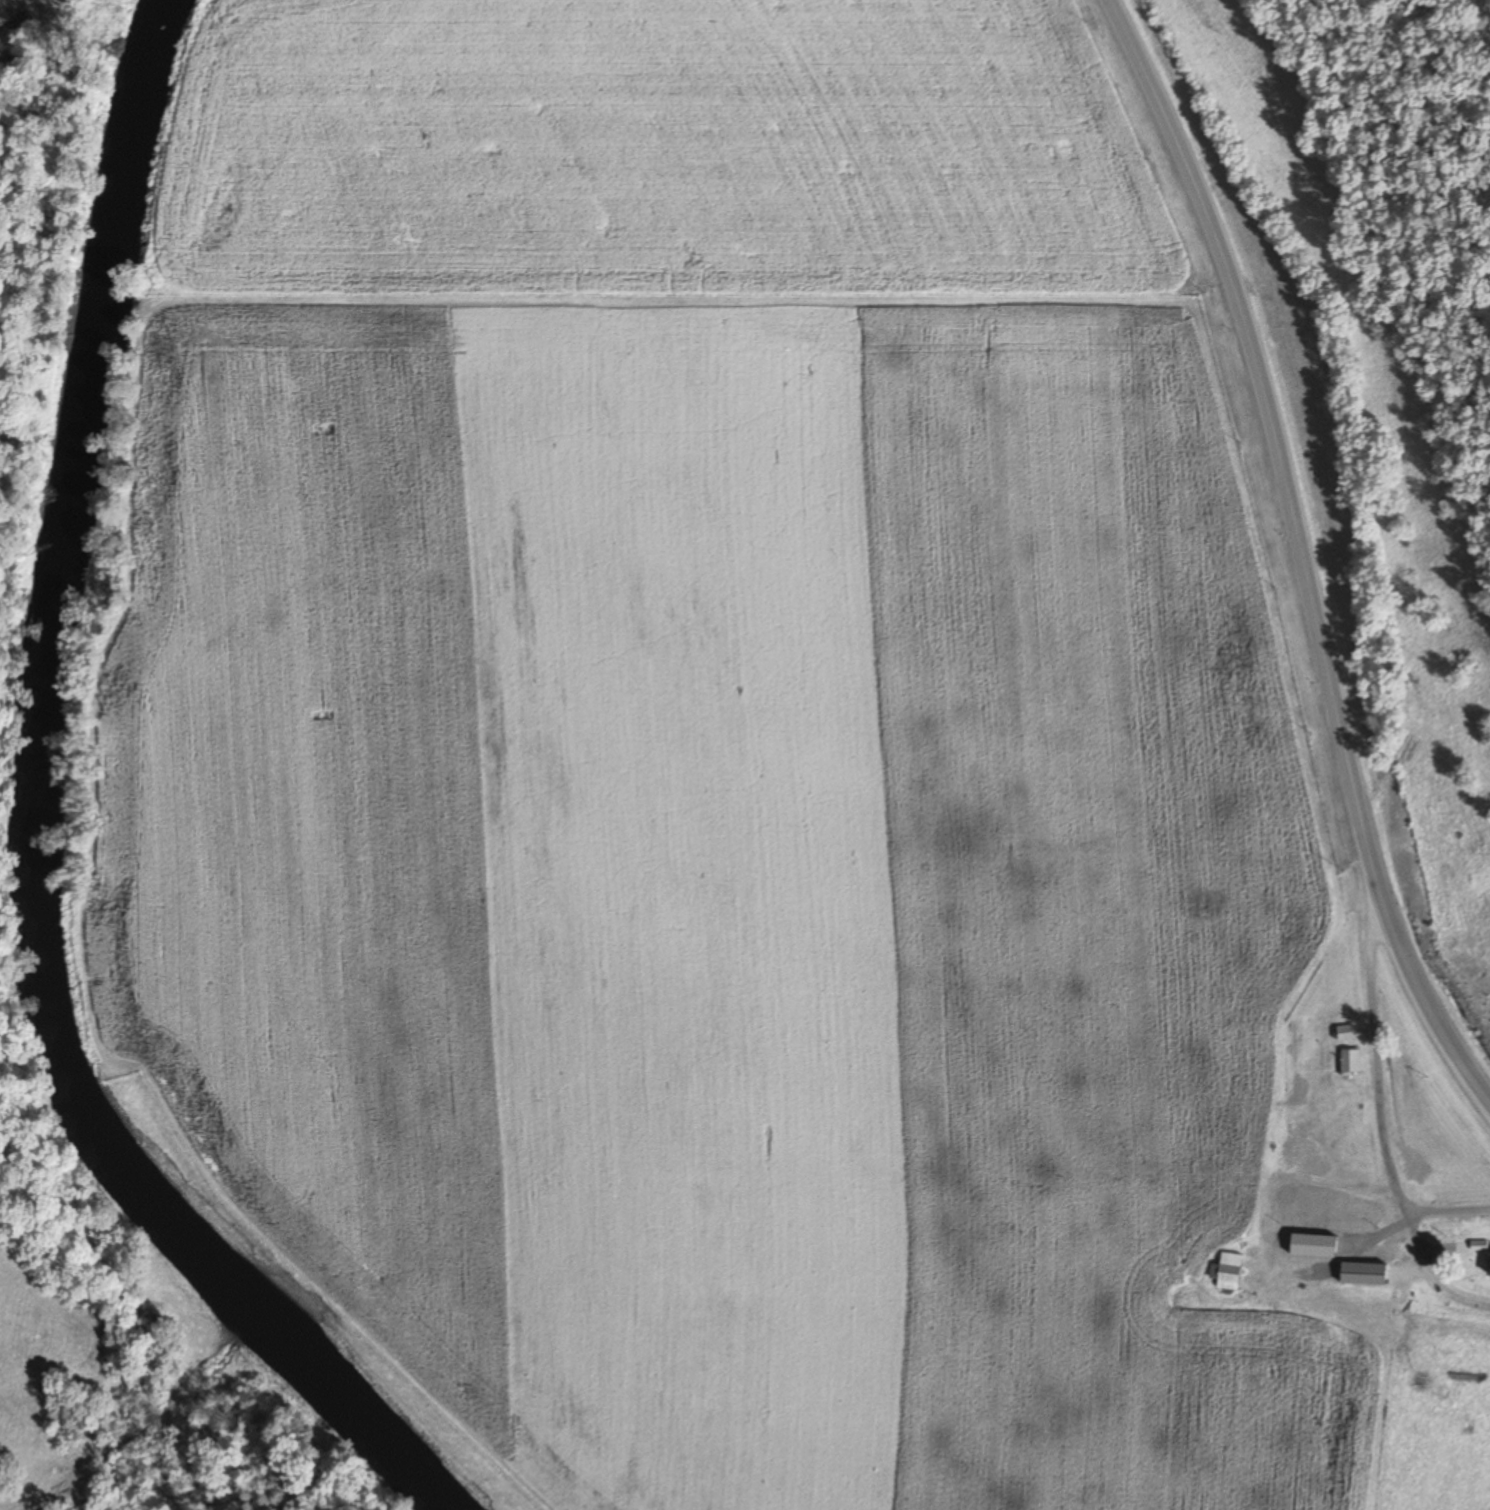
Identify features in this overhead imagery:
road: (1298, 555)
river: (15, 819)
building: (1341, 1031)
building: (1347, 1061)
building: (1297, 1093)
road: (1376, 1102)
building: (1299, 1150)
road: (1282, 1174)
building: (1342, 1237)
building: (1485, 1261)
building: (1223, 1270)
building: (1312, 1281)
building: (1307, 1303)

